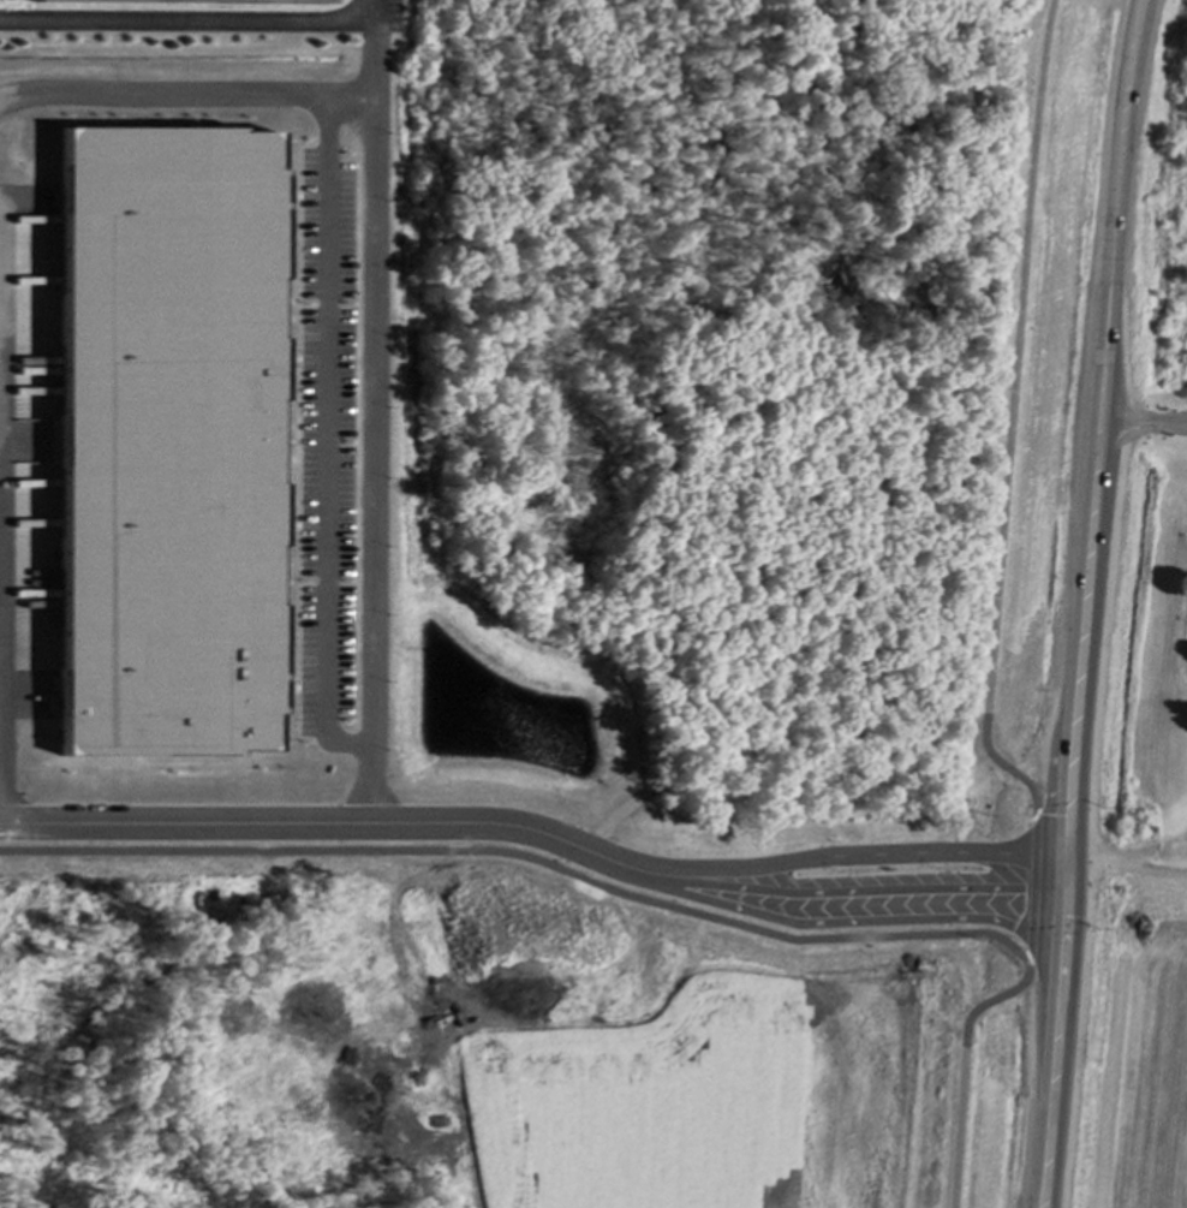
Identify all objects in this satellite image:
building: (191, 4)
road: (196, 22)
road: (161, 94)
road: (348, 97)
road: (371, 382)
road: (1012, 418)
road: (1141, 427)
road: (323, 440)
building: (163, 441)
road: (1088, 538)
park: (1149, 565)
road: (370, 785)
road: (535, 833)
road: (523, 856)
road: (1126, 868)
road: (1032, 886)
crop: (1123, 1043)
crop: (681, 1059)
road: (961, 1065)
road: (1038, 1143)
road: (1043, 1143)

